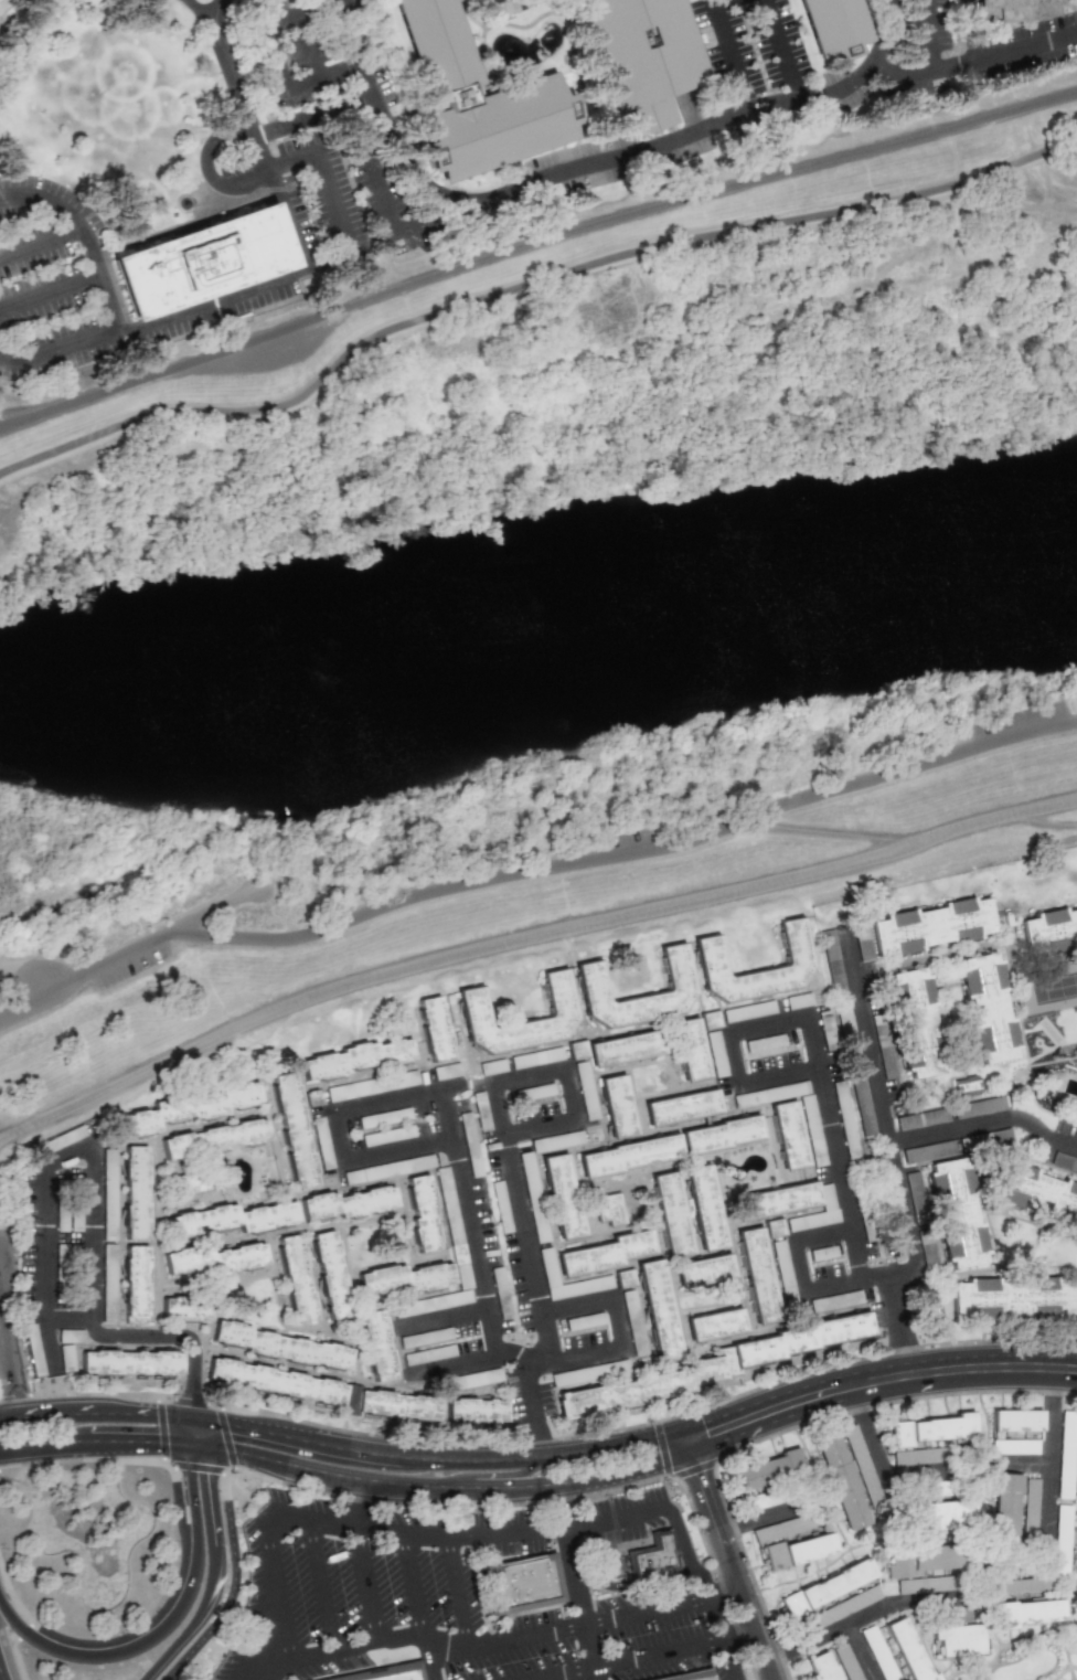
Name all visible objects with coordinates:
building: (1015, 10)
building: (830, 28)
road: (930, 30)
road: (29, 36)
road: (779, 36)
road: (312, 41)
road: (728, 44)
road: (273, 52)
building: (641, 56)
road: (968, 60)
road: (363, 63)
road: (796, 87)
building: (476, 99)
road: (749, 104)
road: (248, 108)
road: (317, 114)
road: (699, 132)
road: (353, 137)
road: (209, 167)
road: (422, 176)
road: (335, 199)
road: (393, 227)
road: (40, 241)
road: (533, 242)
building: (200, 260)
road: (258, 284)
road: (526, 288)
road: (49, 289)
road: (105, 290)
river: (537, 653)
road: (622, 853)
building: (930, 926)
building: (1051, 928)
road: (526, 937)
building: (863, 940)
road: (127, 948)
building: (795, 951)
building: (833, 960)
building: (589, 977)
building: (798, 1000)
building: (557, 1002)
building: (988, 1008)
building: (748, 1011)
building: (710, 1020)
building: (915, 1021)
road: (768, 1023)
building: (433, 1029)
road: (864, 1041)
building: (623, 1048)
building: (689, 1049)
road: (812, 1049)
building: (577, 1050)
road: (735, 1055)
building: (355, 1057)
building: (492, 1066)
road: (778, 1073)
road: (526, 1074)
building: (371, 1085)
building: (967, 1086)
building: (781, 1092)
road: (569, 1093)
building: (861, 1096)
building: (840, 1097)
building: (745, 1099)
road: (384, 1100)
road: (823, 1103)
building: (615, 1106)
building: (681, 1106)
building: (984, 1106)
building: (808, 1107)
building: (190, 1108)
road: (495, 1109)
road: (444, 1114)
building: (921, 1118)
road: (538, 1127)
building: (294, 1130)
road: (1042, 1133)
building: (719, 1135)
building: (787, 1135)
road: (335, 1138)
building: (215, 1139)
road: (395, 1151)
building: (628, 1155)
building: (195, 1181)
building: (1032, 1190)
building: (136, 1192)
building: (561, 1195)
building: (775, 1200)
building: (349, 1202)
building: (601, 1204)
road: (897, 1204)
building: (703, 1206)
building: (420, 1213)
building: (956, 1213)
building: (670, 1214)
road: (846, 1215)
building: (233, 1219)
road: (519, 1225)
road: (818, 1235)
road: (45, 1242)
road: (473, 1246)
road: (96, 1247)
building: (603, 1253)
building: (211, 1258)
road: (795, 1266)
building: (702, 1269)
building: (329, 1275)
building: (756, 1275)
building: (295, 1278)
building: (402, 1278)
road: (831, 1283)
building: (135, 1286)
road: (573, 1307)
building: (184, 1309)
building: (657, 1310)
building: (929, 1312)
road: (444, 1315)
road: (73, 1317)
road: (616, 1321)
building: (713, 1325)
road: (541, 1337)
building: (374, 1340)
road: (145, 1342)
building: (279, 1346)
road: (584, 1352)
road: (477, 1358)
building: (129, 1363)
building: (710, 1367)
road: (876, 1381)
road: (10, 1382)
road: (184, 1386)
road: (529, 1387)
building: (326, 1391)
building: (474, 1411)
building: (1013, 1421)
road: (94, 1426)
building: (930, 1429)
road: (200, 1434)
road: (542, 1437)
road: (305, 1439)
building: (1013, 1446)
road: (543, 1456)
building: (767, 1469)
road: (882, 1472)
road: (498, 1474)
building: (838, 1479)
road: (447, 1485)
road: (701, 1487)
road: (214, 1489)
road: (554, 1492)
road: (1048, 1492)
road: (355, 1496)
building: (1003, 1508)
building: (940, 1514)
road: (765, 1517)
road: (472, 1524)
building: (798, 1550)
building: (1075, 1556)
building: (644, 1557)
road: (693, 1575)
road: (233, 1576)
road: (366, 1578)
road: (316, 1581)
road: (280, 1583)
road: (457, 1583)
building: (521, 1584)
building: (1022, 1585)
building: (825, 1586)
road: (576, 1589)
road: (418, 1599)
road: (267, 1602)
road: (6, 1605)
road: (745, 1605)
building: (1025, 1613)
road: (6, 1614)
road: (865, 1616)
road: (178, 1617)
road: (198, 1618)
road: (490, 1639)
building: (958, 1639)
building: (906, 1649)
road: (861, 1652)
road: (728, 1660)
road: (642, 1661)
road: (4, 1663)
building: (819, 1667)
building: (383, 1673)
building: (689, 1676)

